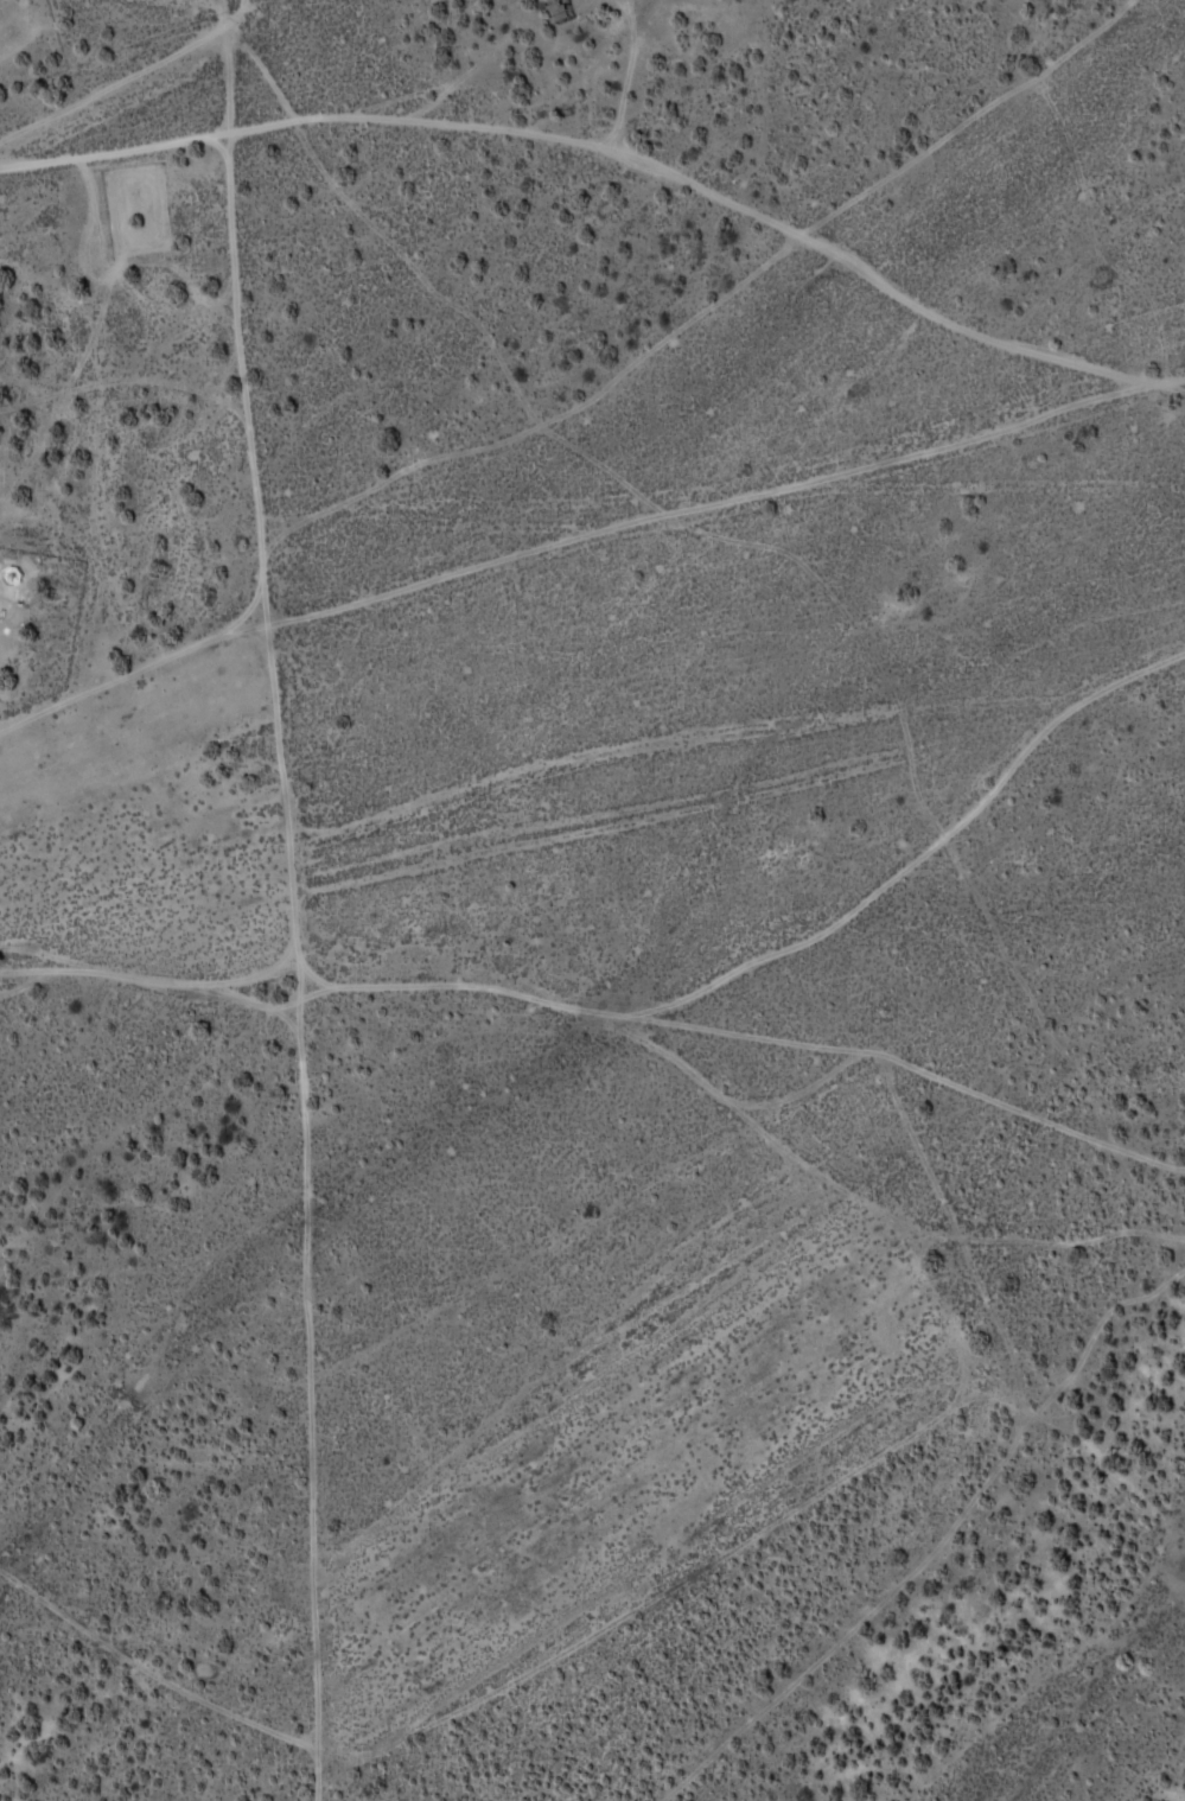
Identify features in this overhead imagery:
road: (935, 1540)

